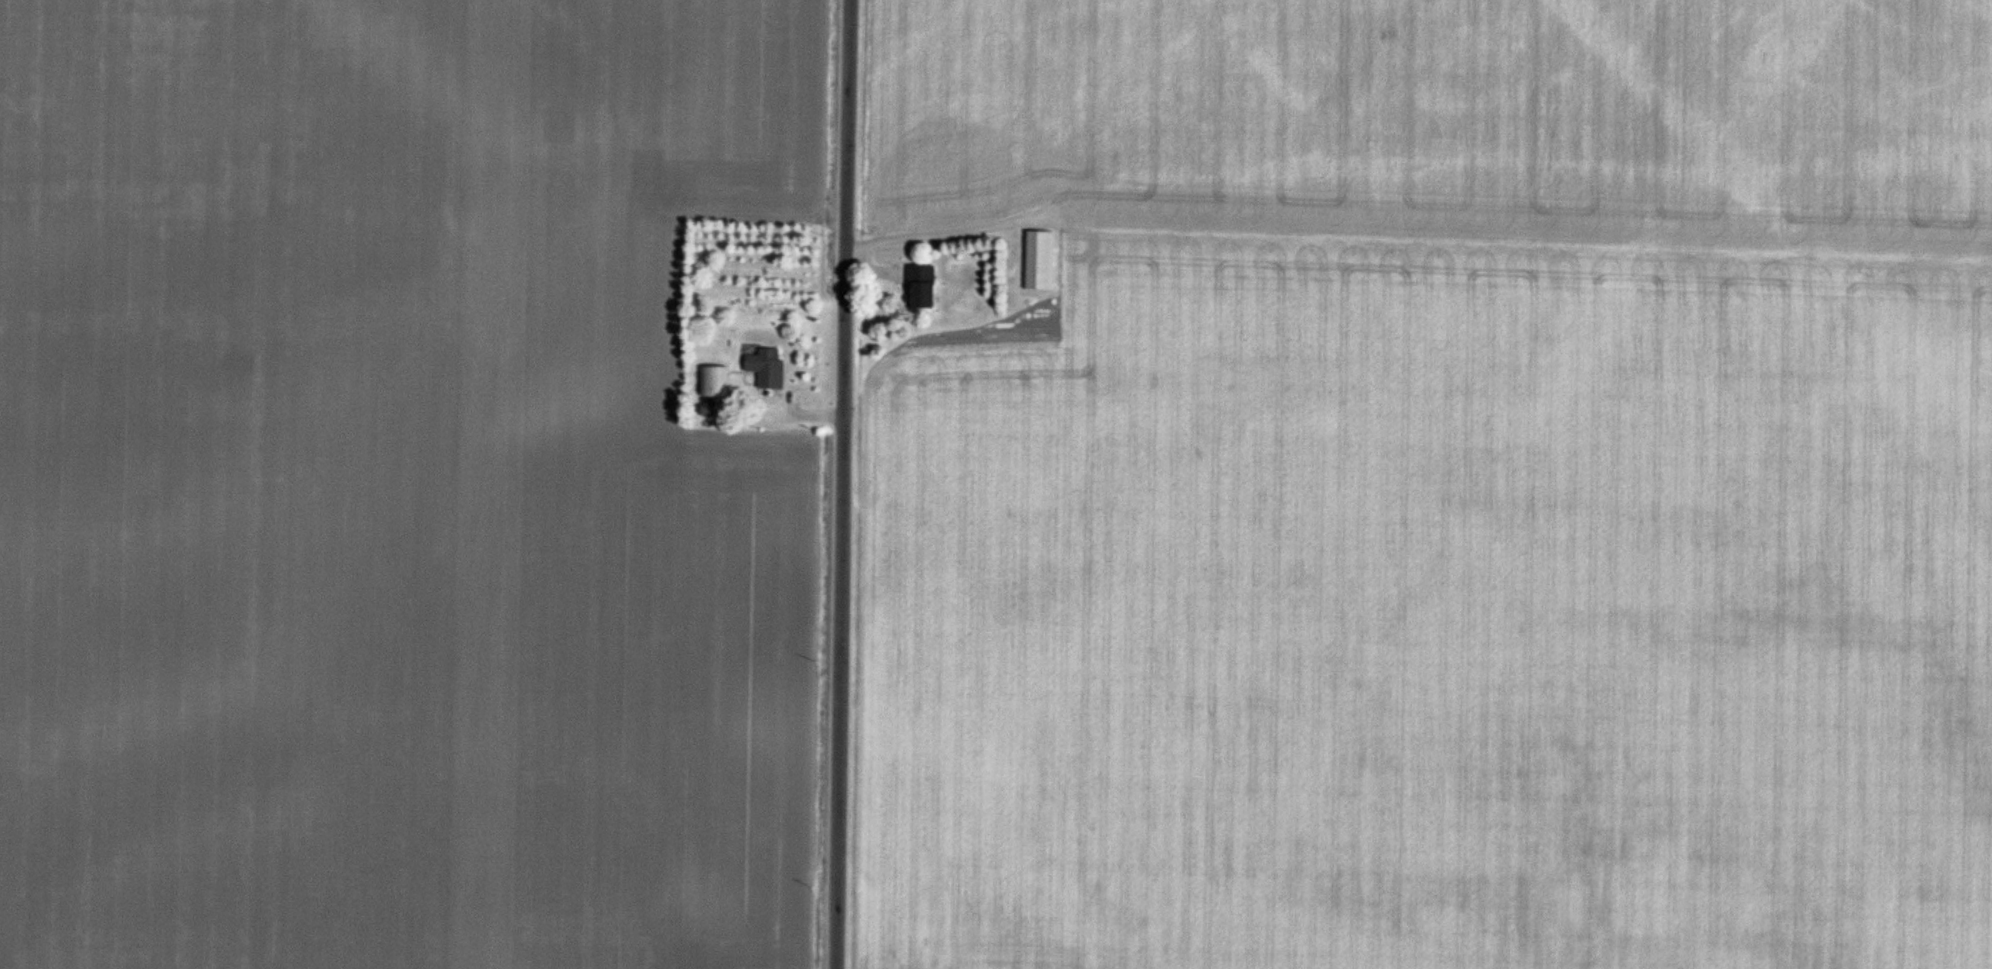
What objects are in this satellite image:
road: (941, 225)
building: (1040, 261)
building: (922, 288)
building: (768, 368)
building: (716, 382)
road: (842, 484)

